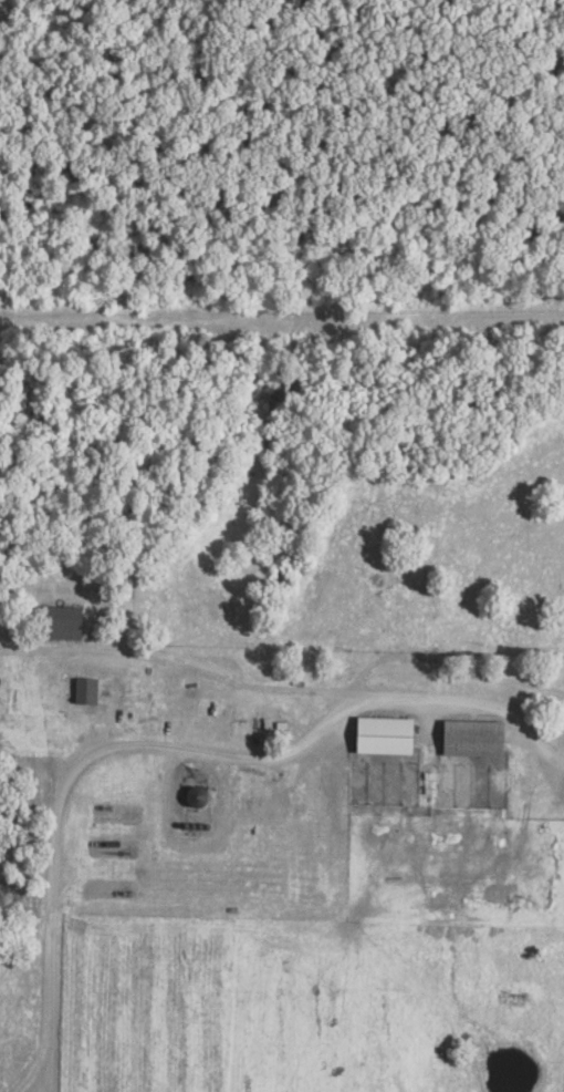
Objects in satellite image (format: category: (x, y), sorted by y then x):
building: (63, 622)
road: (189, 667)
building: (88, 689)
building: (394, 735)
building: (480, 738)
road: (169, 749)
building: (205, 796)

